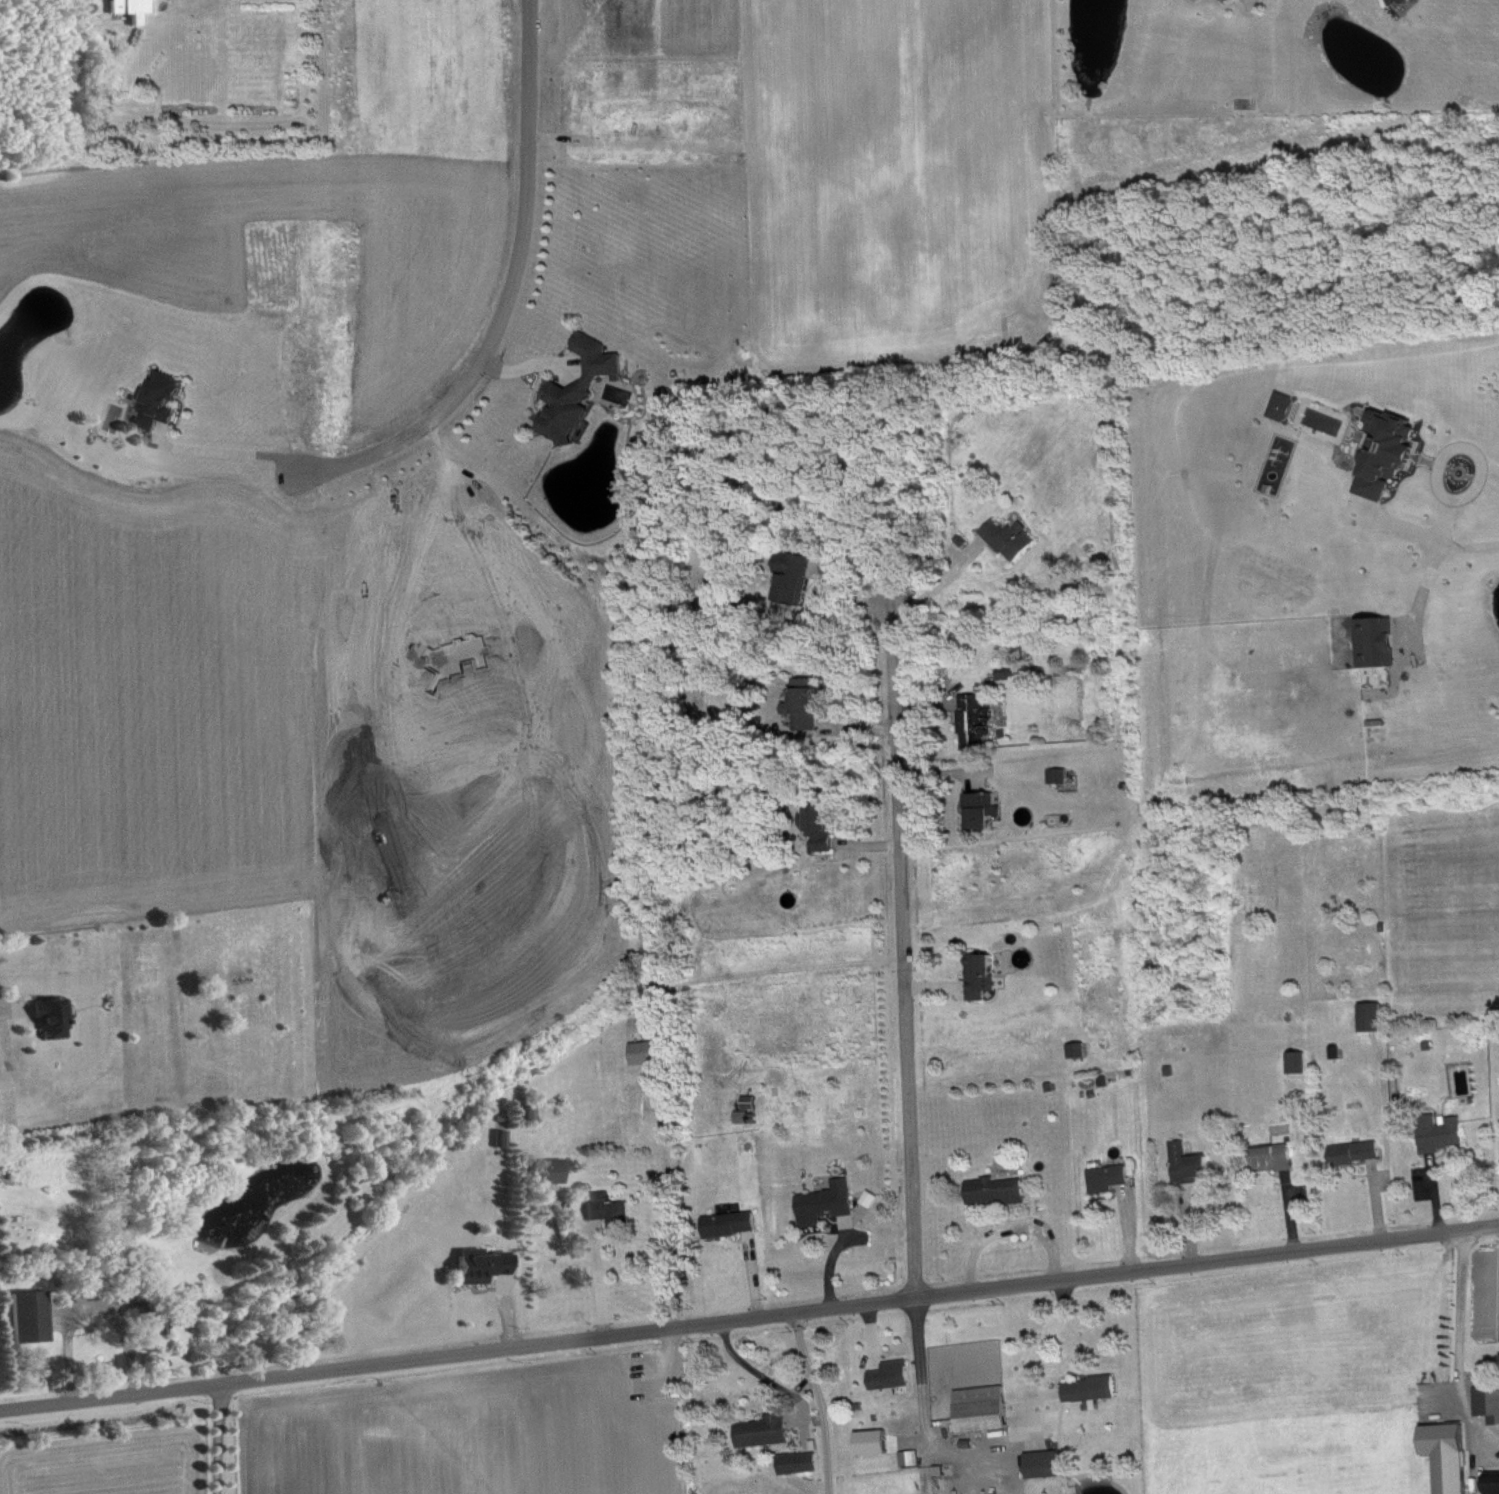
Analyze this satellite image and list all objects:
building: (1397, 0)
building: (135, 9)
road: (515, 295)
building: (584, 389)
building: (164, 400)
building: (1290, 405)
road: (236, 453)
building: (1394, 453)
road: (1490, 465)
road: (1437, 480)
road: (1440, 518)
road: (1427, 536)
building: (1015, 538)
building: (799, 579)
building: (1382, 642)
building: (809, 704)
building: (979, 720)
building: (1064, 775)
building: (986, 809)
building: (826, 827)
road: (903, 954)
building: (986, 975)
building: (1378, 1016)
building: (56, 1018)
building: (1082, 1049)
building: (649, 1052)
building: (754, 1102)
building: (751, 1117)
building: (1447, 1133)
building: (1360, 1152)
building: (1277, 1158)
building: (1193, 1164)
building: (554, 1171)
building: (1112, 1178)
building: (999, 1190)
building: (830, 1203)
building: (614, 1211)
building: (734, 1224)
road: (595, 1250)
building: (485, 1265)
building: (141, 1307)
building: (34, 1316)
road: (749, 1317)
building: (160, 1326)
road: (1465, 1334)
road: (67, 1348)
road: (758, 1372)
building: (896, 1375)
building: (1095, 1388)
road: (820, 1401)
building: (1490, 1402)
building: (767, 1431)
road: (217, 1437)
road: (986, 1447)
building: (1453, 1456)
building: (915, 1458)
building: (813, 1462)
building: (1049, 1463)
building: (1496, 1482)

